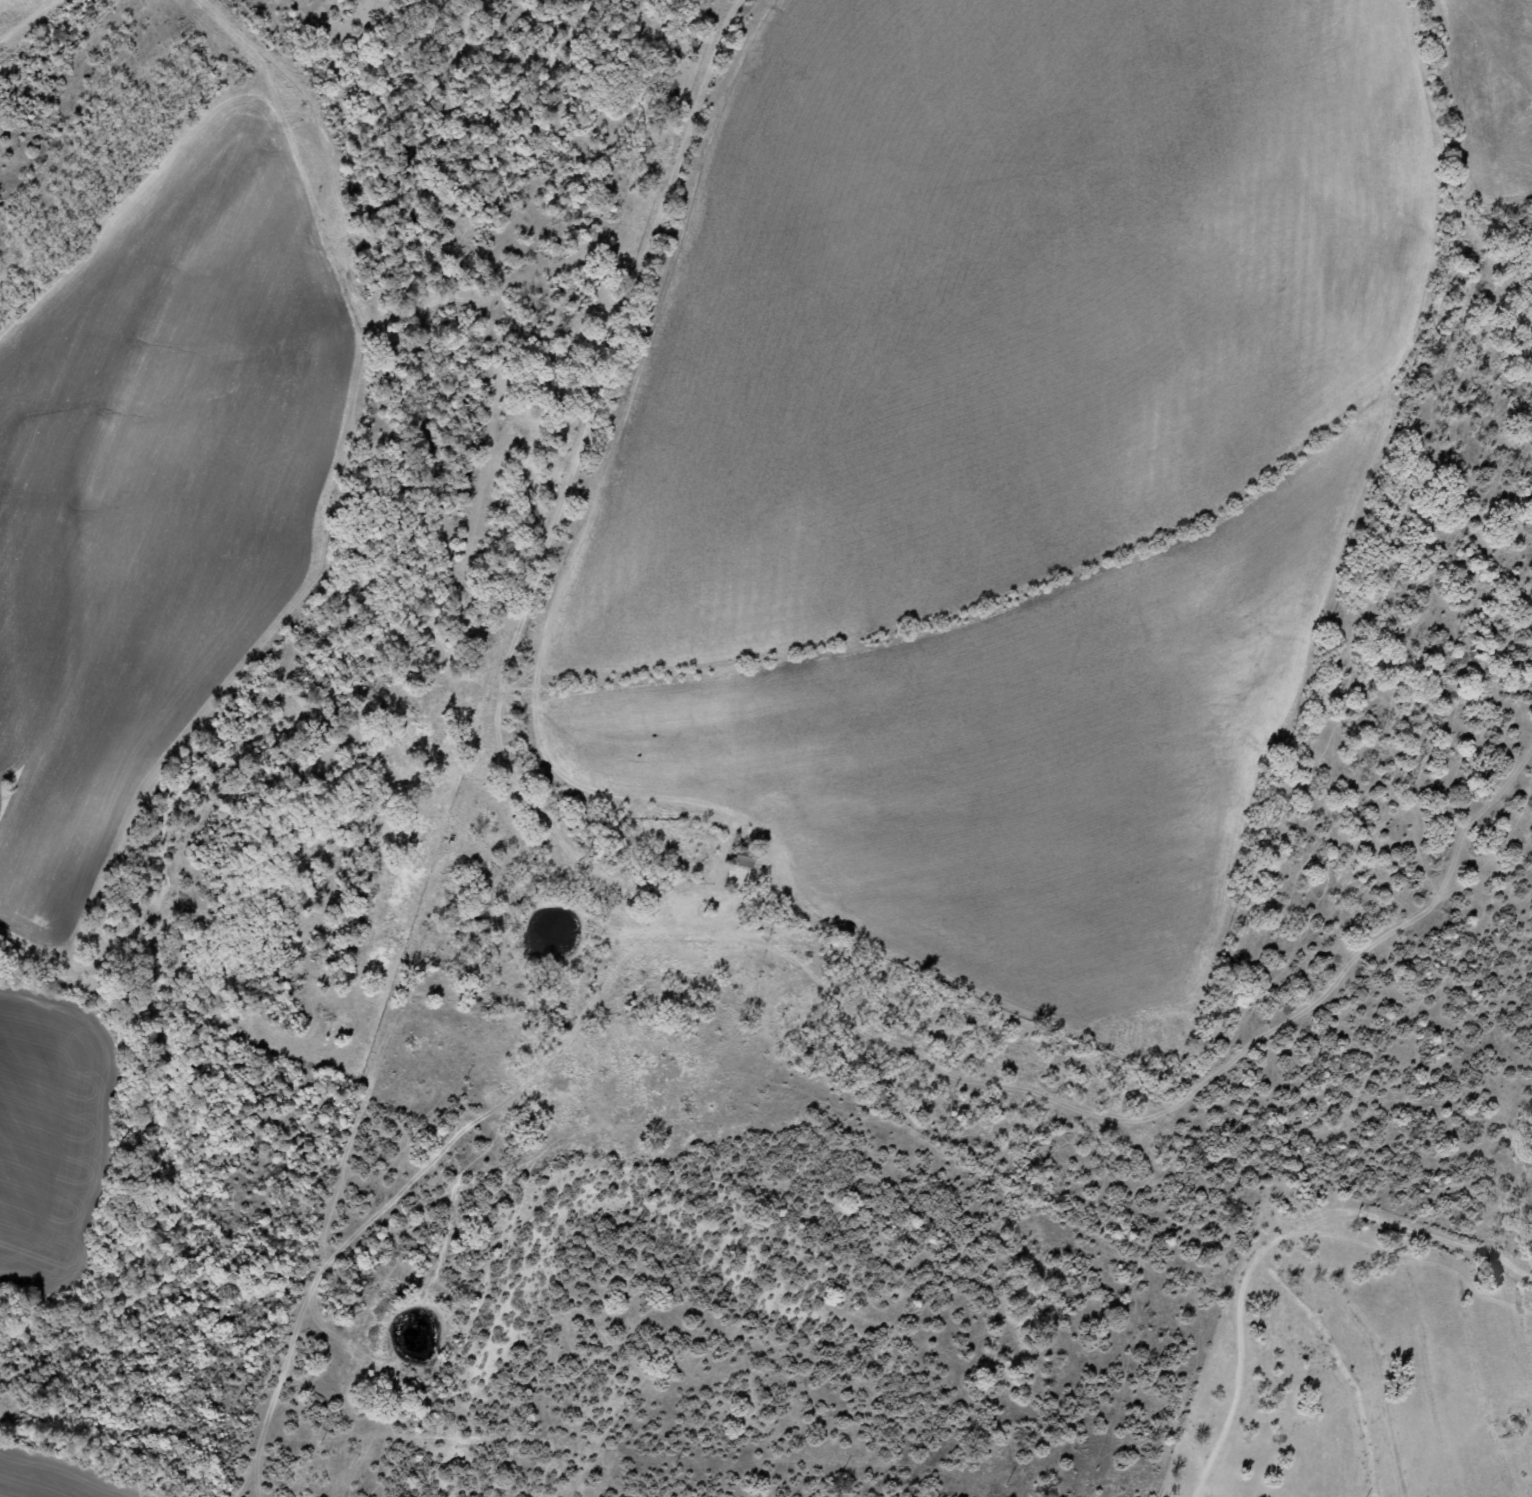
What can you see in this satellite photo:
road: (602, 442)

